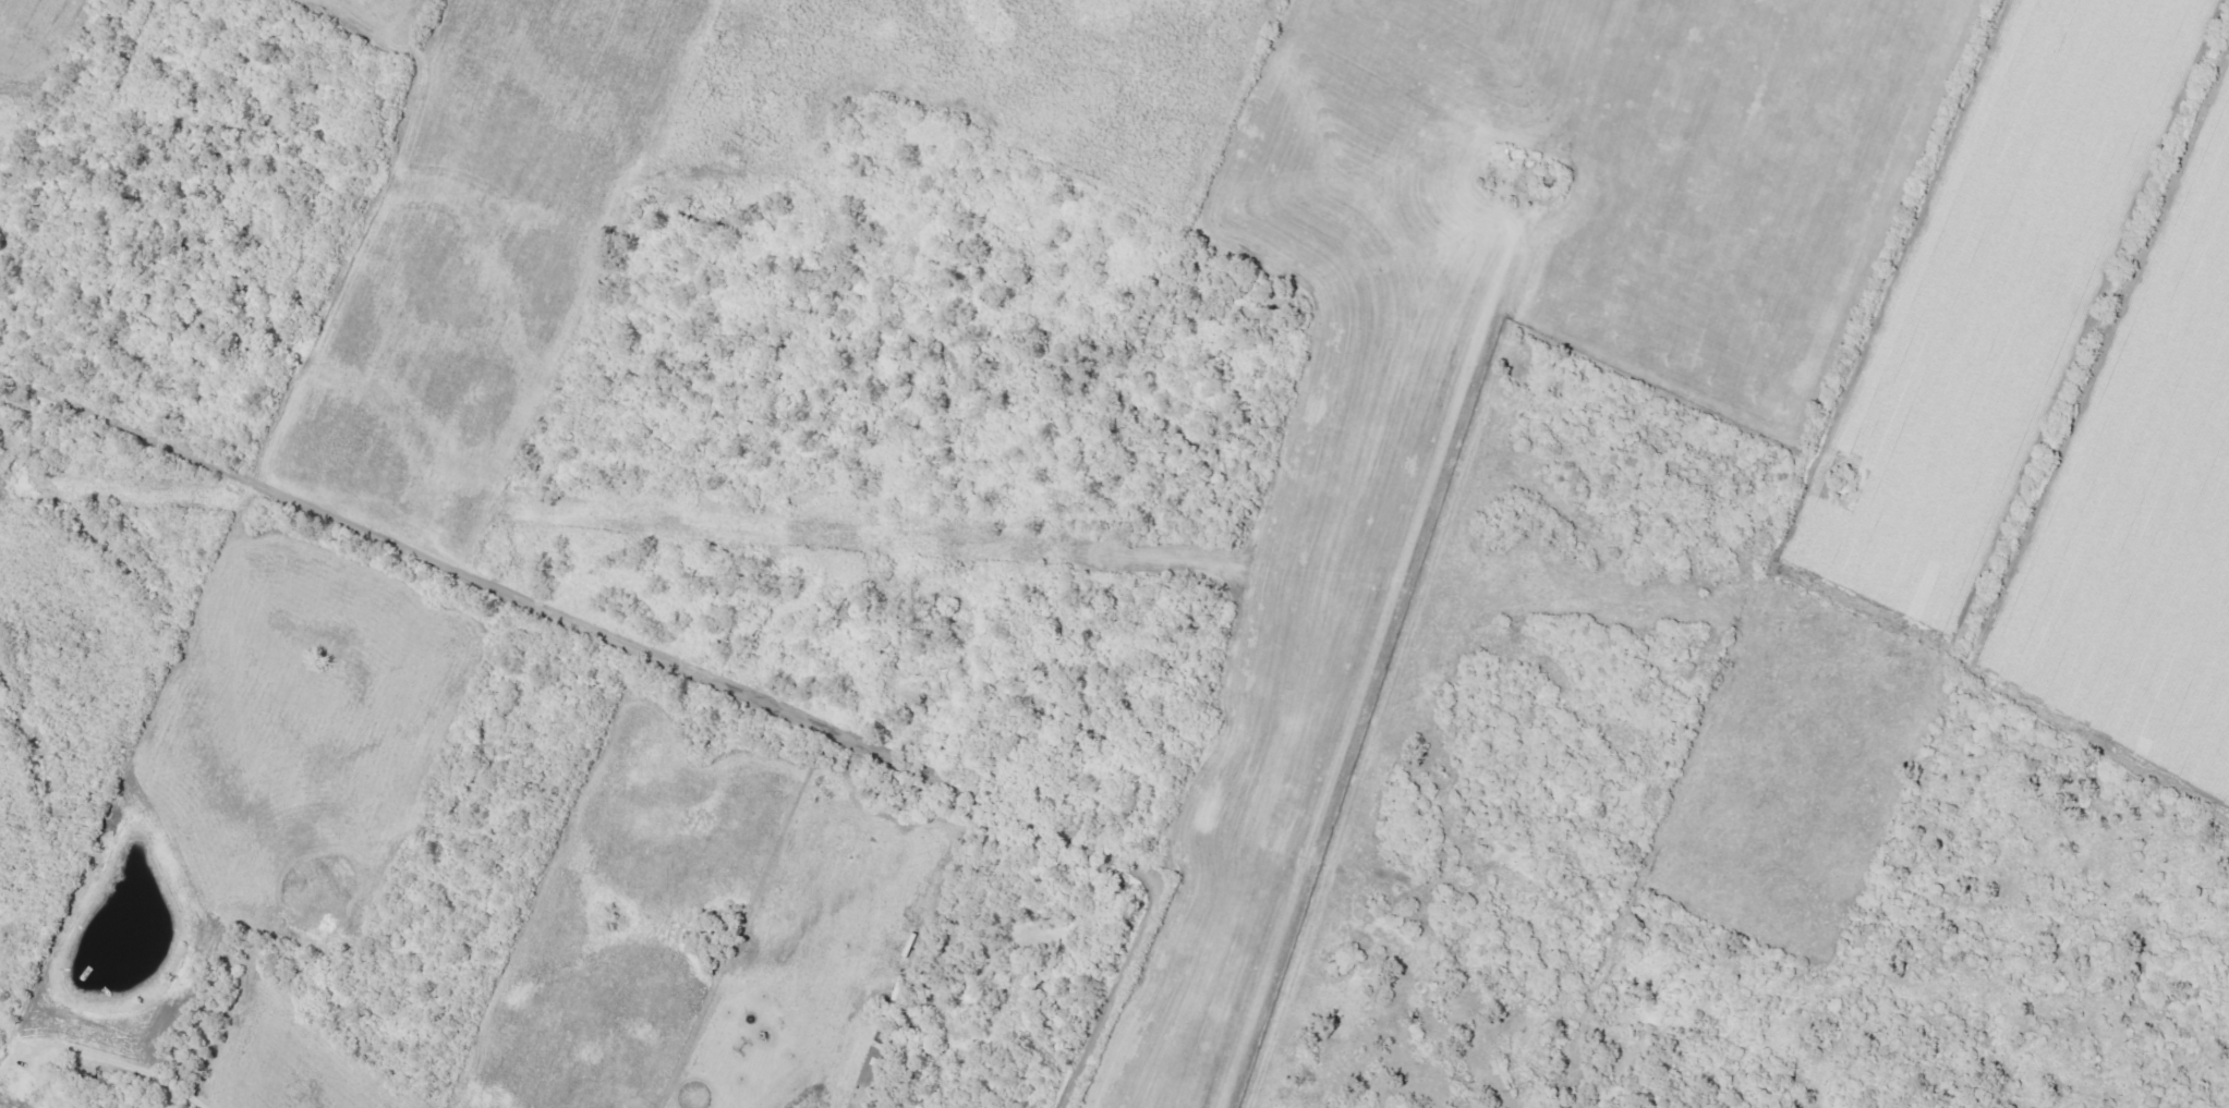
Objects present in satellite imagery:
road: (1214, 440)
road: (234, 477)
road: (637, 653)
road: (98, 1062)

